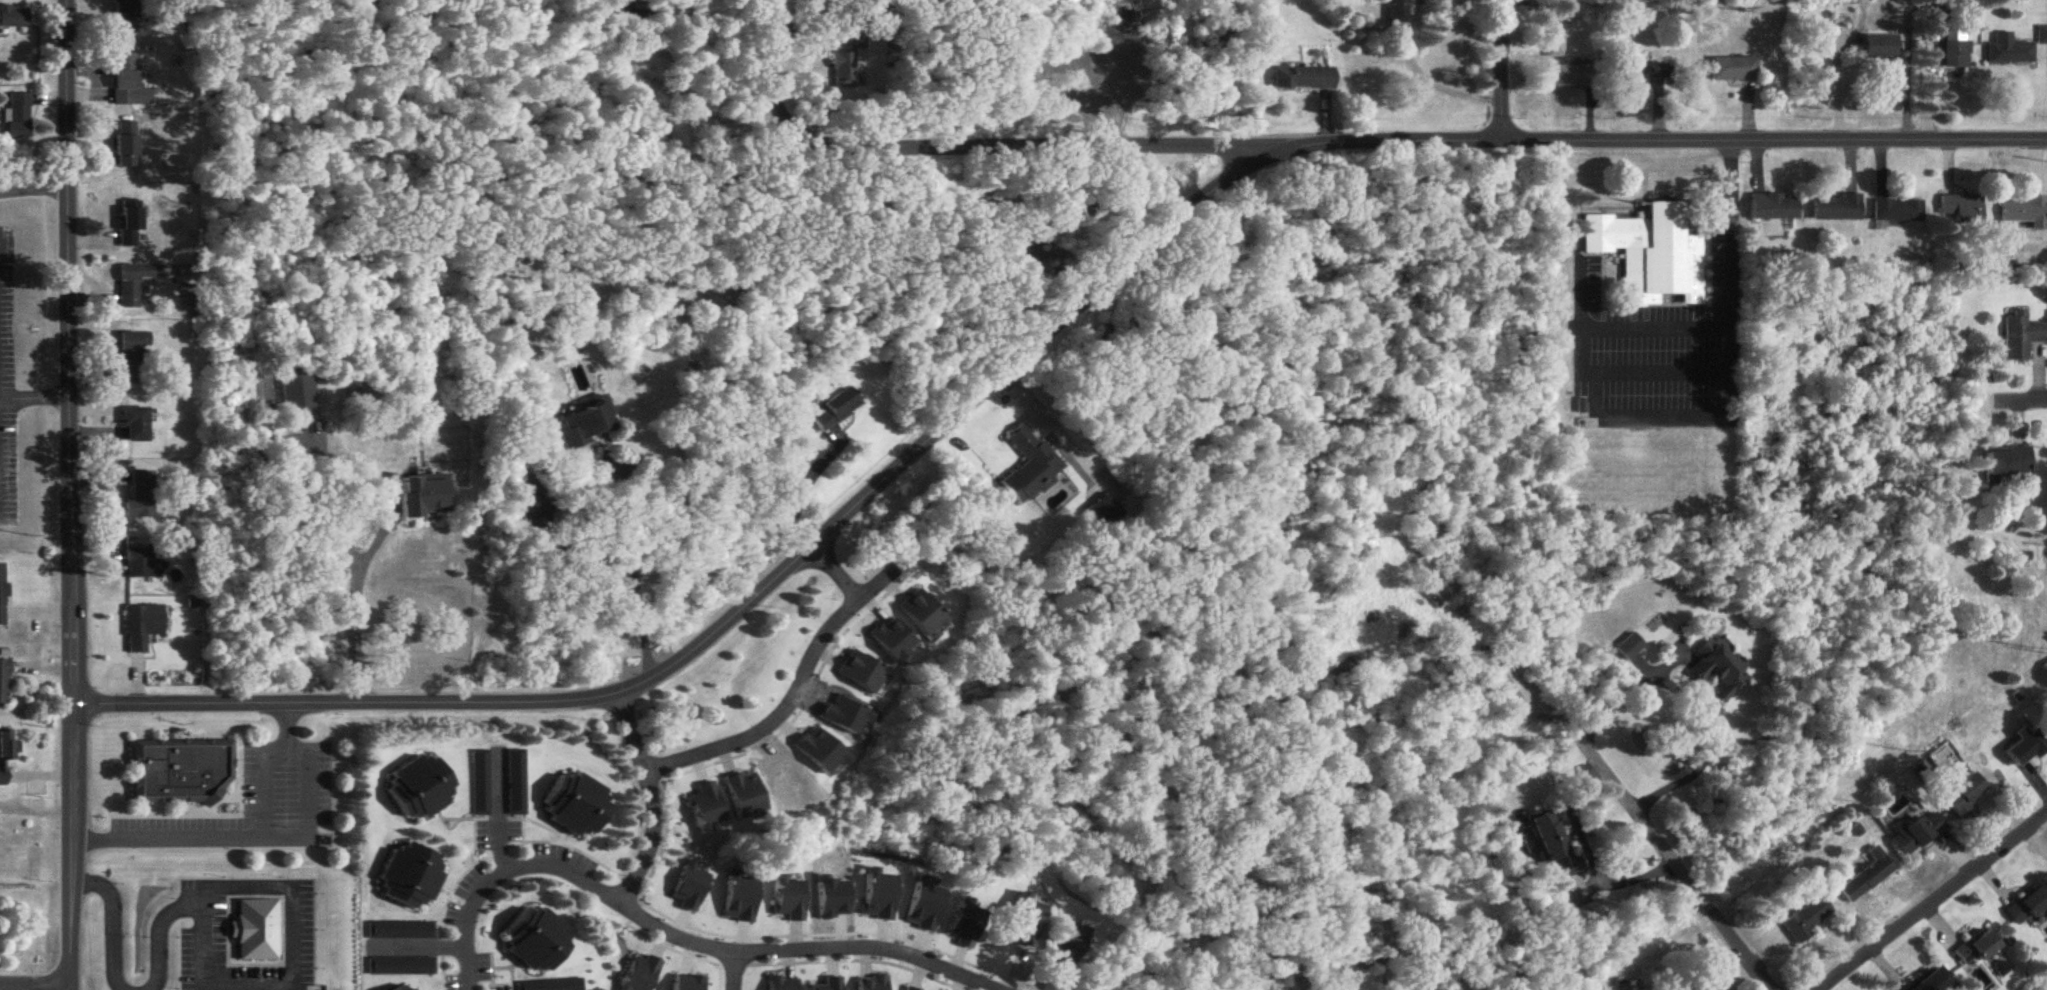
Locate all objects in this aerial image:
building: (1401, 12)
building: (126, 17)
building: (13, 19)
building: (2041, 36)
building: (1879, 48)
building: (2008, 52)
building: (1954, 55)
building: (842, 68)
building: (1733, 70)
road: (1501, 72)
building: (1641, 75)
building: (1567, 77)
building: (1303, 80)
building: (129, 85)
building: (19, 116)
road: (1214, 143)
road: (902, 148)
building: (126, 152)
road: (33, 188)
building: (1772, 206)
building: (1835, 208)
building: (1960, 209)
building: (1896, 211)
building: (2026, 212)
building: (129, 228)
building: (1649, 254)
building: (132, 284)
building: (2021, 336)
road: (1030, 344)
building: (570, 355)
building: (133, 358)
road: (1661, 367)
building: (297, 392)
road: (34, 397)
road: (2027, 404)
building: (833, 409)
road: (1696, 414)
building: (585, 423)
building: (134, 425)
building: (2006, 465)
building: (1029, 466)
road: (615, 476)
road: (800, 487)
road: (68, 494)
building: (424, 496)
building: (140, 497)
building: (1102, 512)
building: (140, 564)
road: (828, 573)
building: (2, 596)
road: (355, 601)
building: (918, 615)
building: (141, 627)
building: (1628, 648)
building: (1717, 671)
building: (861, 675)
building: (3, 683)
road: (1624, 685)
building: (1507, 687)
road: (791, 697)
road: (1707, 745)
building: (2023, 747)
building: (7, 753)
building: (179, 772)
building: (481, 783)
building: (517, 783)
building: (420, 789)
building: (1963, 795)
building: (744, 796)
road: (653, 799)
building: (577, 806)
building: (706, 809)
road: (35, 813)
road: (498, 813)
road: (264, 834)
building: (1915, 834)
building: (1553, 846)
road: (1674, 861)
road: (505, 876)
building: (411, 877)
road: (1623, 877)
building: (1866, 877)
building: (788, 898)
road: (1935, 902)
building: (2028, 906)
road: (112, 919)
building: (1026, 920)
building: (1807, 920)
building: (964, 925)
road: (156, 929)
building: (256, 931)
building: (401, 931)
building: (535, 942)
building: (1066, 945)
building: (1977, 949)
road: (806, 953)
building: (401, 967)
building: (640, 973)
road: (729, 973)
road: (292, 980)
building: (1934, 981)
building: (870, 983)
building: (782, 984)
building: (548, 985)
building: (401, 988)
road: (35, 989)
building: (417, 989)
building: (906, 989)
building: (1703, 989)

